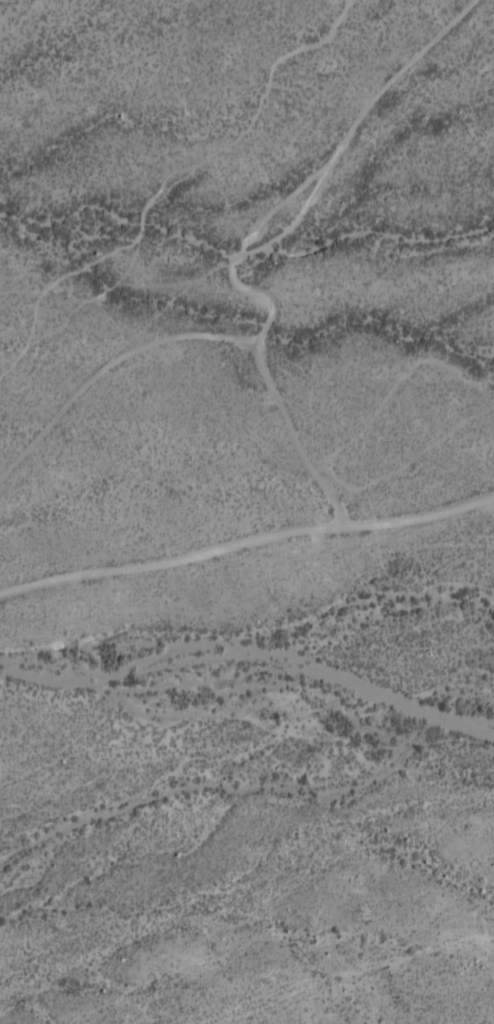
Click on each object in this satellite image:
road: (169, 183)
road: (242, 287)
road: (82, 305)
road: (295, 437)
road: (247, 545)

